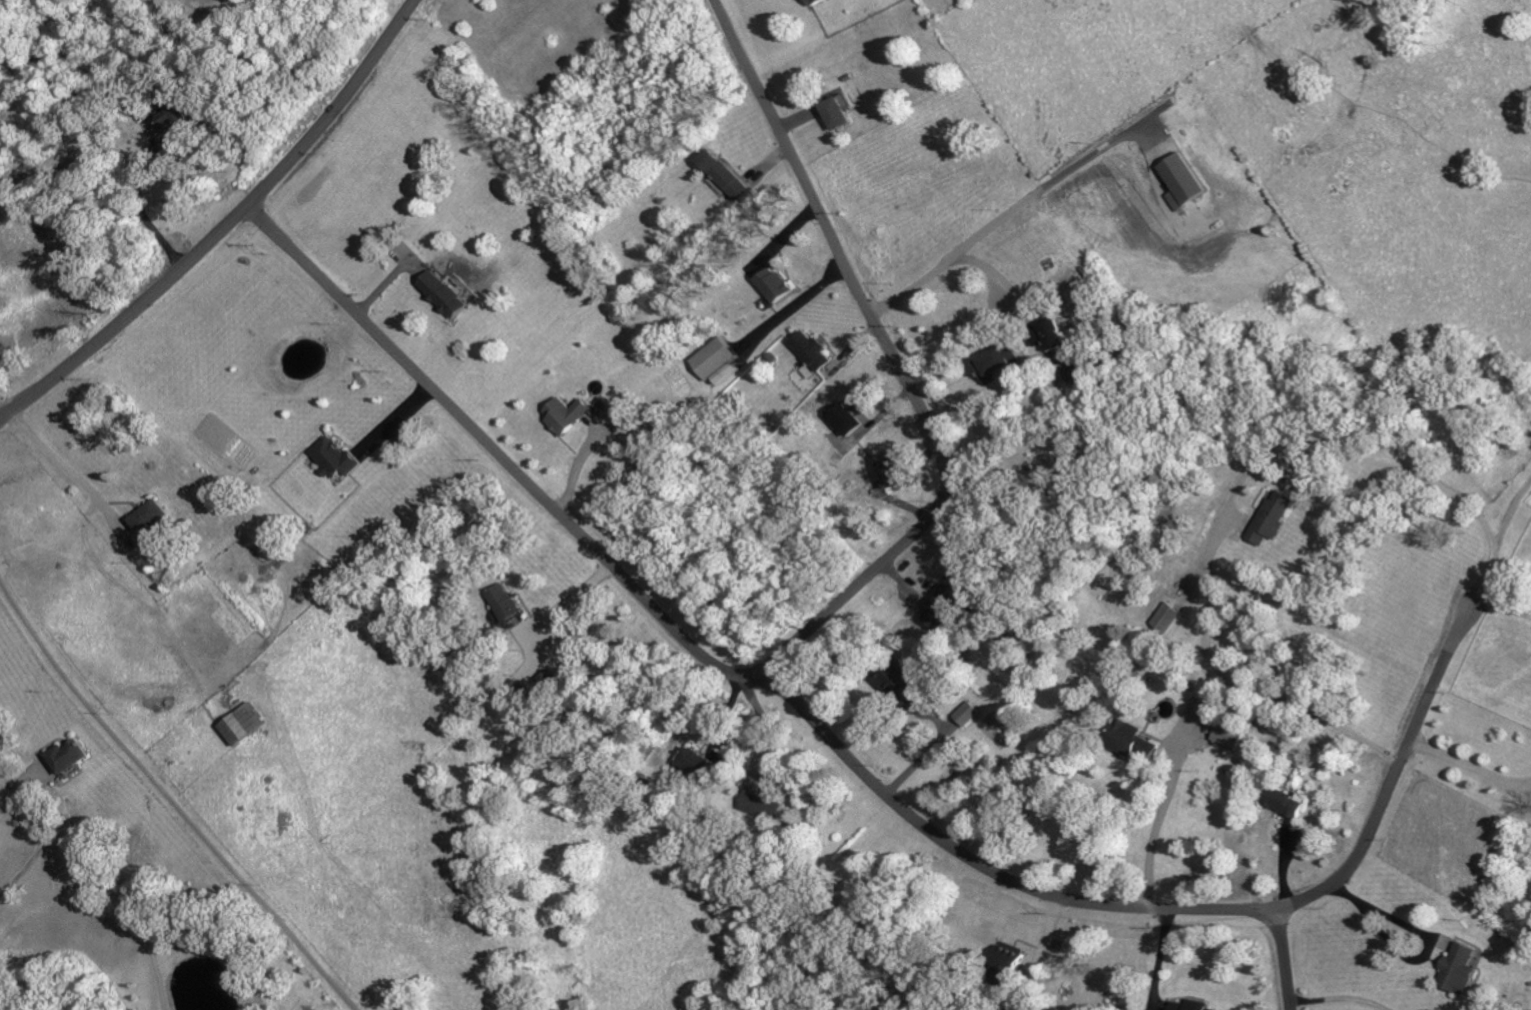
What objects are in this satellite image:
building: (816, 1)
road: (242, 2)
road: (253, 2)
road: (217, 13)
building: (836, 114)
building: (725, 175)
building: (1183, 181)
road: (1047, 190)
road: (142, 210)
road: (226, 229)
road: (954, 261)
building: (775, 285)
building: (445, 294)
road: (795, 306)
building: (1064, 340)
building: (811, 351)
building: (994, 363)
building: (566, 415)
building: (845, 420)
building: (336, 458)
road: (66, 468)
building: (888, 471)
road: (1234, 498)
road: (1512, 516)
building: (149, 520)
building: (1272, 521)
building: (504, 604)
building: (942, 605)
road: (1500, 610)
building: (1167, 618)
road: (801, 640)
building: (901, 679)
building: (964, 713)
building: (242, 723)
road: (767, 725)
building: (1230, 731)
building: (1123, 735)
building: (1148, 744)
building: (68, 755)
road: (918, 762)
road: (1468, 763)
road: (171, 801)
building: (1283, 802)
building: (760, 804)
road: (1154, 833)
road: (28, 862)
road: (104, 879)
road: (1163, 910)
road: (1429, 940)
road: (1285, 959)
road: (1158, 960)
building: (1005, 963)
building: (1458, 968)
road: (1341, 998)

